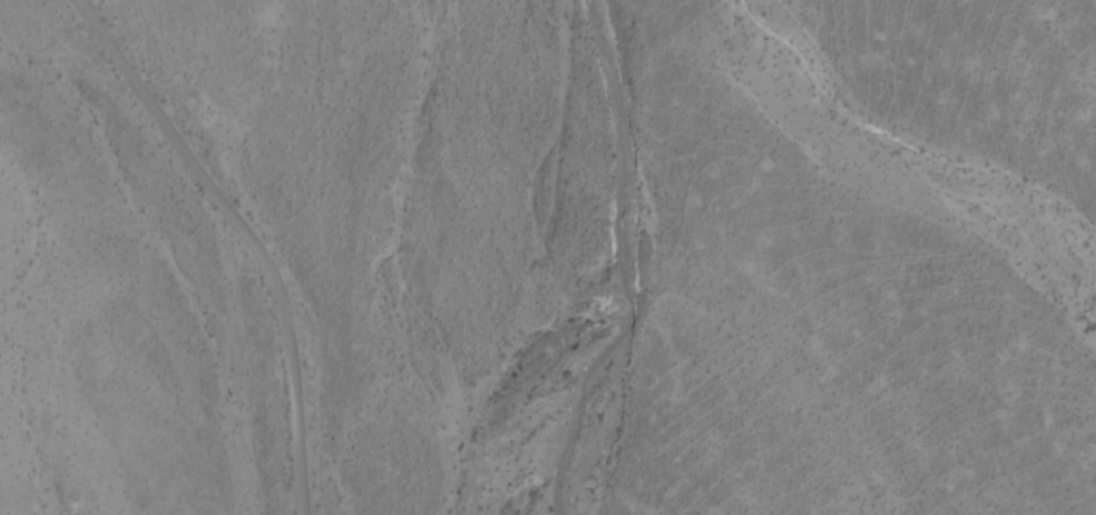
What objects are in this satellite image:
road: (243, 236)

